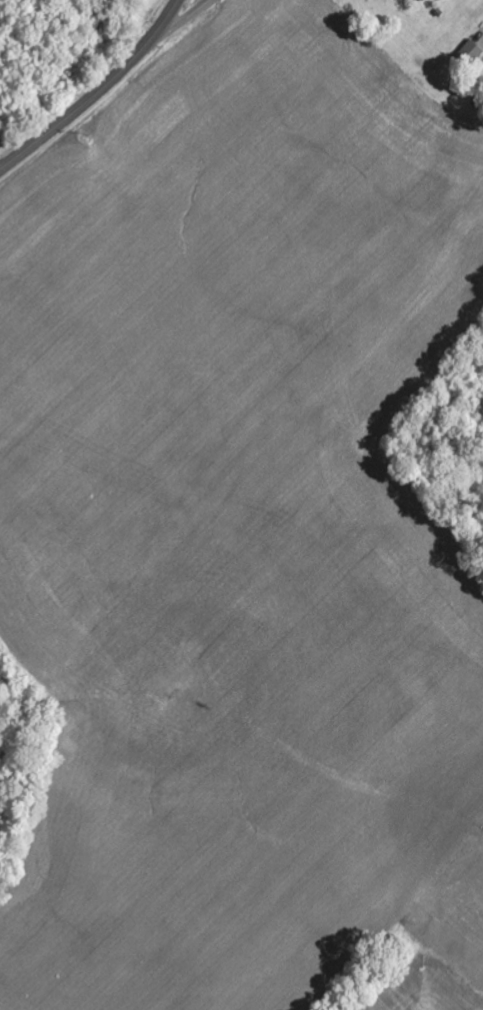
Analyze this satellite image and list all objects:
road: (177, 26)
building: (472, 54)
road: (98, 95)

